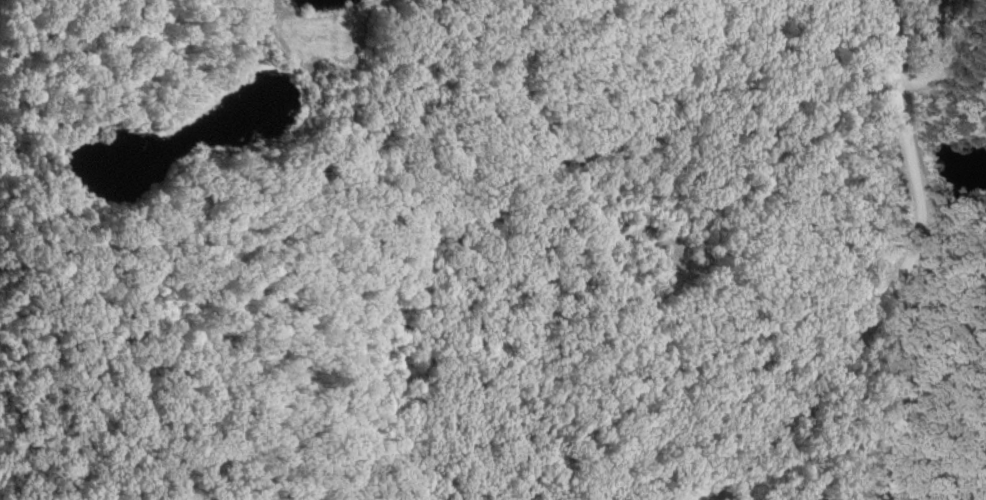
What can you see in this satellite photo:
road: (946, 84)
road: (894, 284)

